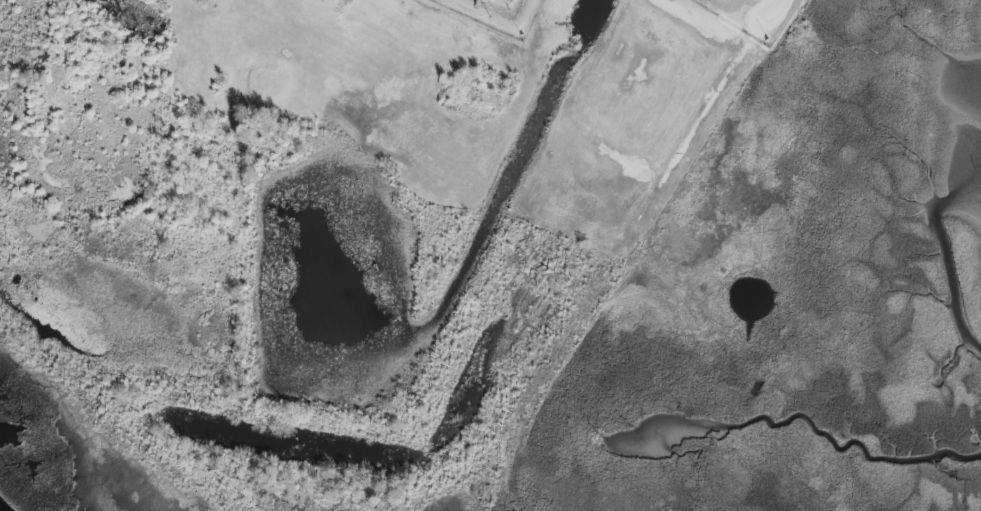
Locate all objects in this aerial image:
road: (628, 251)

